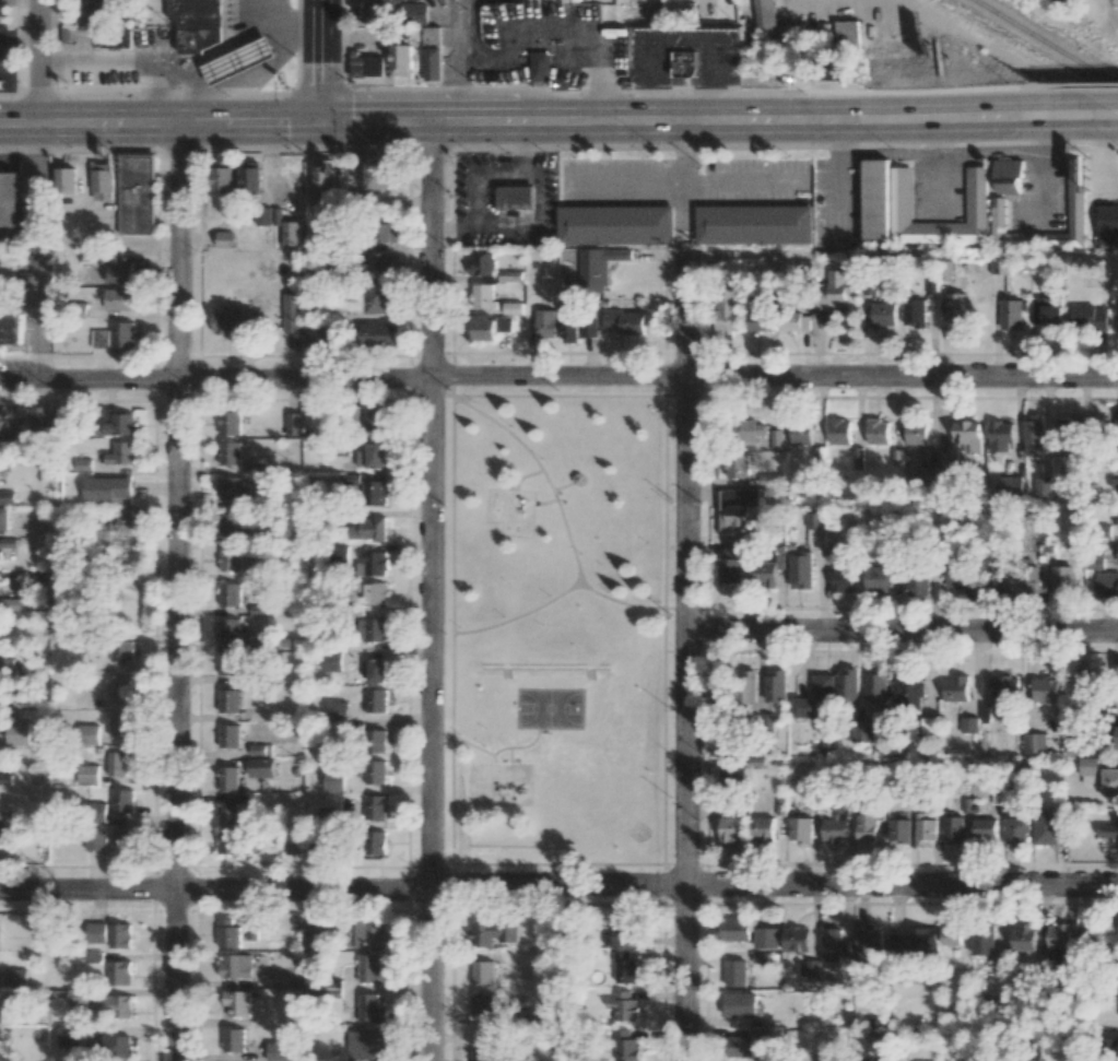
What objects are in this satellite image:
building: (1060, 2)
road: (832, 5)
building: (96, 10)
building: (372, 11)
building: (417, 14)
building: (763, 16)
building: (199, 24)
building: (431, 35)
building: (845, 35)
building: (117, 37)
road: (7, 44)
railway: (1046, 44)
road: (589, 49)
building: (402, 59)
building: (240, 60)
road: (321, 60)
road: (459, 60)
road: (38, 61)
building: (433, 63)
building: (684, 63)
building: (367, 66)
building: (541, 66)
building: (822, 69)
road: (1087, 103)
road: (1025, 110)
traffic signals: (321, 121)
road: (497, 121)
road: (1047, 127)
road: (1109, 131)
road: (522, 144)
road: (470, 145)
road: (1108, 163)
road: (451, 169)
building: (326, 174)
building: (380, 175)
building: (1008, 175)
building: (223, 176)
building: (251, 176)
building: (66, 179)
building: (102, 180)
road: (686, 180)
road: (840, 181)
road: (685, 182)
building: (137, 193)
building: (976, 193)
building: (517, 197)
building: (876, 201)
building: (16, 212)
building: (998, 214)
building: (269, 215)
road: (495, 219)
building: (755, 223)
building: (616, 224)
building: (1107, 224)
road: (452, 228)
building: (389, 232)
building: (292, 233)
building: (225, 239)
building: (378, 263)
building: (482, 263)
building: (600, 264)
building: (1003, 266)
building: (117, 269)
building: (948, 269)
building: (314, 272)
building: (510, 275)
building: (838, 287)
building: (484, 295)
building: (121, 298)
building: (379, 299)
building: (957, 306)
building: (514, 307)
building: (729, 309)
building: (1047, 310)
building: (292, 313)
building: (915, 313)
building: (1013, 314)
building: (884, 315)
building: (1090, 316)
building: (1117, 317)
road: (35, 319)
building: (792, 319)
building: (227, 321)
building: (625, 321)
building: (757, 321)
building: (545, 322)
building: (11, 327)
building: (490, 328)
building: (579, 328)
building: (123, 333)
building: (320, 333)
building: (380, 334)
building: (101, 338)
road: (558, 376)
building: (373, 416)
building: (0, 417)
building: (1116, 418)
building: (39, 420)
building: (119, 422)
building: (231, 423)
building: (293, 423)
building: (1068, 426)
building: (751, 429)
building: (839, 431)
building: (878, 432)
building: (916, 433)
building: (801, 434)
building: (967, 435)
building: (1000, 435)
building: (1033, 436)
building: (122, 452)
building: (230, 452)
building: (375, 455)
building: (946, 461)
building: (83, 464)
building: (738, 464)
road: (540, 472)
building: (927, 476)
building: (1114, 483)
building: (1007, 487)
building: (107, 488)
building: (232, 490)
building: (375, 492)
building: (7, 496)
building: (740, 510)
building: (3, 518)
building: (815, 519)
building: (126, 523)
building: (230, 523)
building: (369, 529)
building: (230, 558)
building: (1094, 561)
building: (373, 563)
building: (731, 563)
building: (803, 569)
building: (768, 570)
building: (844, 577)
building: (878, 579)
building: (993, 580)
building: (1028, 580)
building: (1062, 580)
building: (960, 581)
building: (918, 583)
building: (1107, 583)
road: (431, 590)
road: (177, 591)
building: (374, 592)
building: (230, 593)
building: (14, 603)
road: (902, 627)
building: (373, 628)
building: (230, 629)
park: (558, 632)
building: (121, 650)
road: (685, 651)
building: (331, 661)
building: (5, 663)
building: (228, 663)
building: (375, 670)
building: (876, 684)
building: (749, 685)
building: (848, 685)
building: (1084, 685)
building: (119, 686)
building: (775, 686)
building: (955, 688)
building: (1046, 688)
building: (1005, 689)
building: (908, 691)
building: (815, 698)
building: (376, 699)
building: (228, 700)
park: (549, 709)
building: (338, 710)
building: (119, 723)
building: (929, 724)
building: (969, 724)
building: (862, 731)
building: (16, 732)
building: (228, 735)
building: (375, 740)
building: (1034, 743)
building: (257, 748)
building: (118, 762)
building: (261, 767)
building: (1091, 770)
building: (376, 771)
building: (89, 774)
building: (732, 775)
building: (227, 777)
building: (334, 779)
building: (1111, 781)
building: (122, 800)
building: (376, 806)
building: (97, 812)
building: (227, 812)
building: (328, 815)
building: (5, 816)
building: (835, 825)
building: (1046, 826)
building: (732, 827)
building: (864, 827)
building: (764, 828)
building: (800, 828)
building: (984, 828)
building: (899, 829)
building: (925, 829)
building: (954, 829)
building: (1017, 830)
building: (2, 832)
building: (1109, 836)
building: (122, 837)
building: (95, 839)
building: (232, 841)
building: (376, 841)
building: (292, 844)
building: (316, 844)
road: (558, 886)
building: (626, 923)
building: (735, 929)
building: (39, 931)
building: (252, 931)
building: (369, 932)
building: (493, 932)
building: (228, 933)
building: (120, 935)
building: (937, 936)
building: (1061, 936)
building: (1088, 936)
building: (767, 938)
building: (871, 938)
building: (1025, 938)
building: (314, 939)
building: (797, 939)
building: (984, 939)
building: (831, 943)
building: (899, 944)
building: (95, 956)
building: (237, 965)
building: (372, 967)
building: (625, 967)
building: (810, 967)
building: (483, 971)
building: (120, 972)
building: (735, 972)
building: (17, 976)
building: (78, 997)
building: (237, 1002)
building: (482, 1002)
building: (741, 1004)
building: (114, 1005)
building: (624, 1005)
building: (370, 1009)
building: (10, 1012)
building: (70, 1036)
building: (234, 1039)
building: (1114, 1042)
building: (367, 1045)
building: (483, 1045)
building: (116, 1046)
building: (626, 1046)
building: (739, 1046)
building: (283, 1051)

